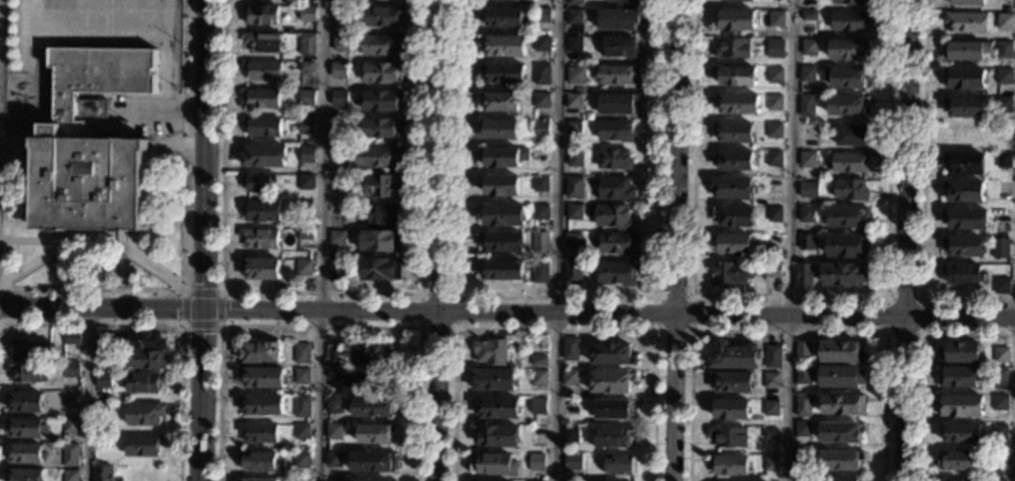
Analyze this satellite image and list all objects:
building: (497, 0)
building: (520, 0)
building: (741, 0)
building: (623, 1)
building: (575, 2)
building: (848, 2)
building: (966, 3)
building: (341, 13)
building: (308, 14)
building: (260, 15)
building: (382, 16)
building: (539, 16)
building: (809, 16)
building: (503, 17)
building: (574, 17)
building: (619, 19)
building: (735, 19)
building: (775, 19)
building: (849, 21)
building: (965, 22)
building: (1004, 22)
building: (263, 42)
building: (341, 42)
building: (542, 43)
building: (307, 44)
building: (382, 44)
building: (574, 44)
building: (504, 45)
building: (619, 47)
building: (809, 47)
building: (732, 48)
building: (774, 48)
building: (848, 49)
building: (967, 50)
building: (1004, 51)
building: (306, 66)
building: (263, 70)
building: (339, 70)
building: (383, 73)
building: (504, 73)
building: (542, 74)
building: (616, 74)
building: (806, 74)
building: (575, 75)
building: (774, 75)
building: (1004, 76)
building: (735, 77)
building: (846, 78)
building: (964, 78)
building: (279, 86)
road: (139, 93)
building: (261, 98)
building: (307, 98)
building: (339, 99)
building: (381, 100)
building: (541, 100)
building: (573, 100)
building: (500, 102)
building: (617, 103)
building: (773, 103)
building: (737, 104)
building: (846, 105)
building: (1003, 105)
building: (806, 106)
building: (963, 107)
road: (42, 109)
road: (166, 111)
building: (306, 126)
building: (341, 126)
building: (262, 127)
building: (381, 128)
building: (538, 128)
building: (573, 128)
building: (498, 130)
building: (773, 130)
building: (614, 131)
building: (732, 132)
building: (851, 136)
building: (90, 143)
road: (16, 144)
road: (165, 145)
building: (307, 154)
building: (338, 154)
building: (263, 156)
building: (377, 156)
building: (541, 156)
building: (504, 157)
building: (574, 157)
building: (614, 159)
building: (773, 159)
building: (806, 159)
building: (734, 161)
building: (1003, 161)
building: (849, 162)
building: (963, 164)
building: (258, 182)
building: (305, 183)
building: (540, 184)
building: (381, 186)
building: (500, 186)
building: (574, 188)
building: (613, 188)
building: (731, 189)
building: (807, 189)
building: (1003, 189)
building: (849, 190)
building: (963, 191)
road: (921, 198)
building: (304, 206)
building: (261, 211)
building: (540, 212)
building: (573, 212)
building: (502, 214)
building: (383, 215)
building: (773, 215)
building: (805, 215)
building: (733, 216)
building: (612, 217)
building: (845, 217)
building: (1003, 217)
building: (966, 219)
building: (305, 234)
road: (181, 235)
building: (335, 237)
building: (260, 238)
road: (201, 240)
road: (322, 240)
road: (438, 240)
road: (555, 240)
building: (572, 240)
road: (671, 240)
road: (788, 240)
road: (900, 240)
building: (381, 241)
road: (28, 242)
building: (539, 242)
building: (772, 242)
building: (805, 242)
building: (503, 243)
building: (616, 243)
building: (731, 244)
building: (846, 246)
building: (963, 246)
building: (999, 248)
road: (37, 262)
road: (141, 265)
building: (336, 266)
building: (304, 267)
building: (260, 268)
building: (381, 269)
building: (501, 270)
building: (572, 270)
building: (772, 270)
building: (539, 272)
building: (615, 273)
building: (730, 273)
building: (964, 274)
building: (803, 275)
building: (842, 275)
building: (1001, 286)
road: (320, 293)
road: (555, 297)
road: (788, 300)
road: (99, 307)
traffic signals: (200, 307)
road: (318, 309)
road: (725, 315)
road: (180, 325)
road: (167, 326)
road: (319, 326)
road: (420, 327)
road: (554, 329)
road: (654, 330)
road: (786, 331)
road: (885, 332)
building: (72, 339)
building: (145, 341)
building: (104, 342)
building: (31, 348)
building: (569, 349)
building: (802, 350)
building: (260, 352)
building: (491, 352)
building: (840, 352)
building: (611, 353)
building: (959, 353)
building: (302, 354)
building: (103, 355)
building: (374, 355)
building: (1000, 355)
building: (771, 356)
building: (335, 357)
building: (734, 357)
road: (918, 358)
building: (146, 360)
building: (538, 360)
building: (71, 369)
building: (27, 371)
building: (802, 375)
building: (302, 376)
building: (569, 377)
building: (840, 377)
building: (957, 377)
building: (262, 378)
building: (538, 378)
building: (999, 378)
building: (493, 380)
building: (770, 380)
building: (103, 381)
building: (144, 382)
building: (610, 382)
building: (731, 382)
building: (344, 383)
road: (87, 394)
building: (71, 400)
building: (25, 402)
building: (999, 402)
building: (262, 404)
building: (841, 405)
building: (301, 406)
building: (334, 406)
building: (537, 406)
building: (802, 406)
building: (961, 406)
building: (373, 407)
building: (496, 407)
building: (101, 408)
building: (770, 408)
building: (611, 409)
building: (729, 409)
building: (144, 414)
building: (70, 426)
building: (25, 428)
building: (801, 429)
building: (301, 431)
building: (334, 431)
building: (840, 432)
building: (998, 432)
building: (259, 433)
building: (376, 433)
building: (960, 433)
building: (570, 434)
building: (769, 434)
building: (497, 435)
building: (612, 437)
building: (727, 437)
building: (100, 440)
building: (143, 445)
building: (25, 453)
building: (70, 455)
building: (801, 457)
building: (333, 459)
building: (301, 460)
building: (839, 460)
building: (998, 460)
building: (958, 461)
building: (260, 462)
building: (373, 462)
building: (536, 462)
building: (572, 462)
building: (770, 463)
building: (497, 465)
building: (618, 465)
building: (728, 465)
building: (102, 473)
building: (24, 475)
building: (70, 475)
building: (801, 478)
building: (842, 479)
building: (256, 480)
building: (298, 480)
building: (333, 480)
building: (366, 480)
building: (473, 480)
building: (535, 480)
building: (950, 480)
building: (997, 480)

